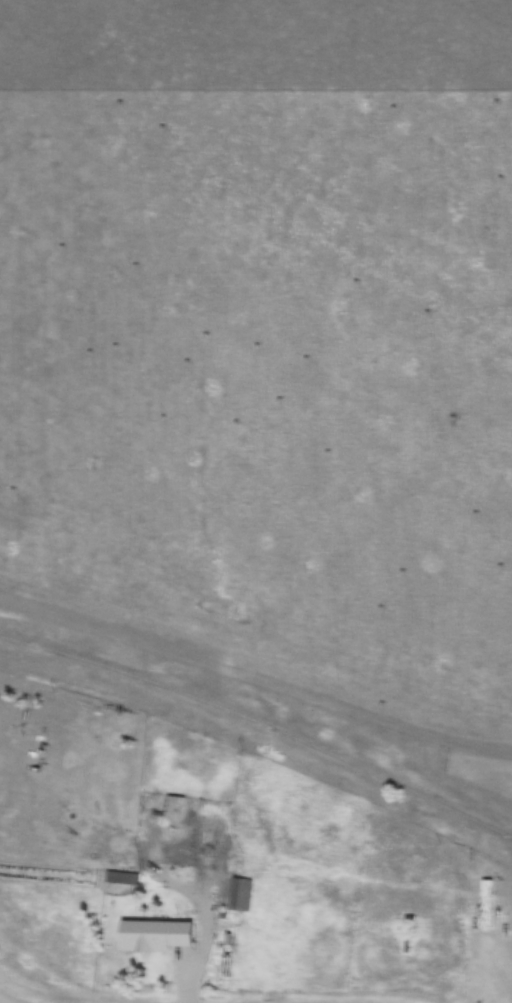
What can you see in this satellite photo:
railway: (264, 703)
building: (81, 831)
building: (204, 844)
building: (164, 853)
building: (237, 894)
building: (485, 904)
building: (160, 932)

